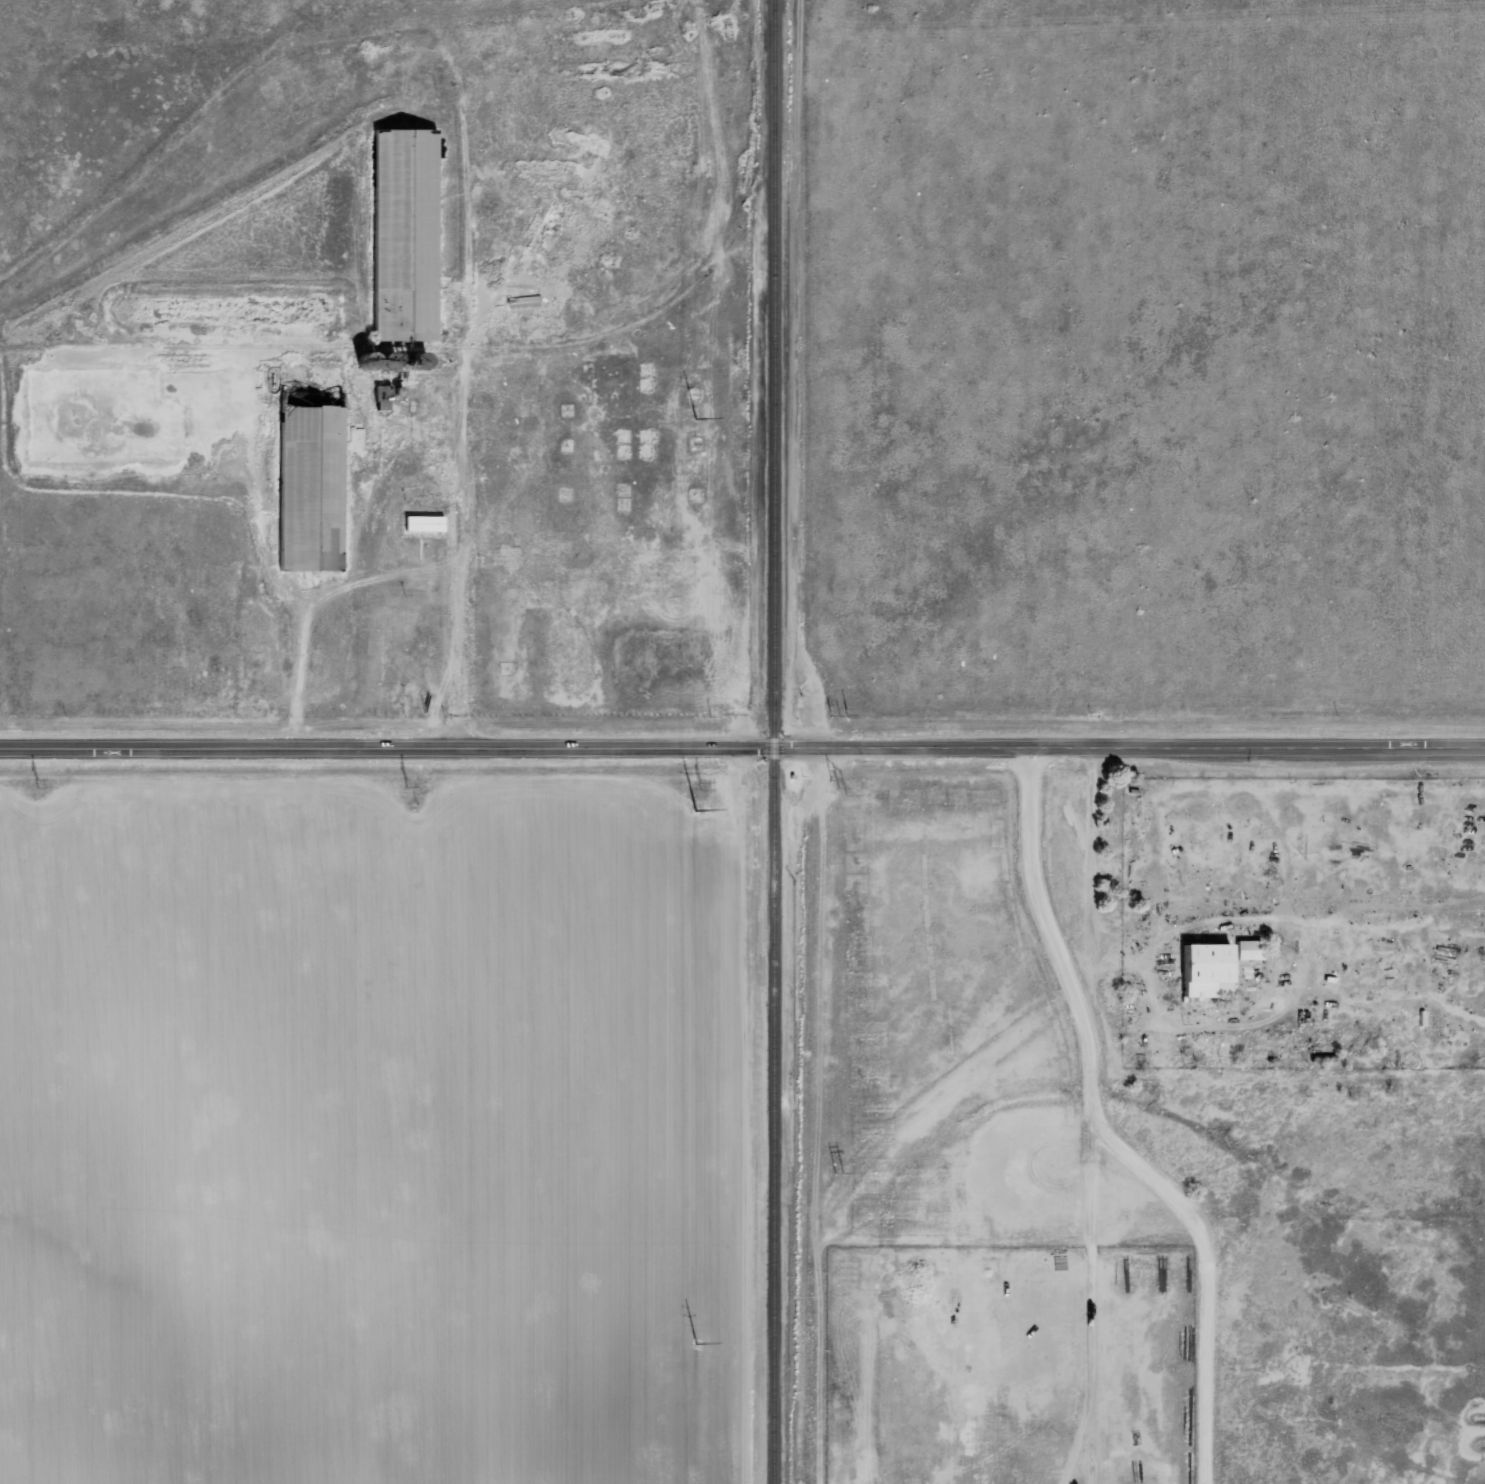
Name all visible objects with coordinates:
building: (421, 525)
railway: (774, 742)
road: (742, 749)
power tower: (38, 784)
power tower: (408, 785)
power tower: (704, 785)
power tower: (839, 785)
road: (1036, 875)
building: (1245, 951)
building: (1202, 971)
road: (1089, 1116)
power tower: (842, 1175)
road: (1207, 1275)

